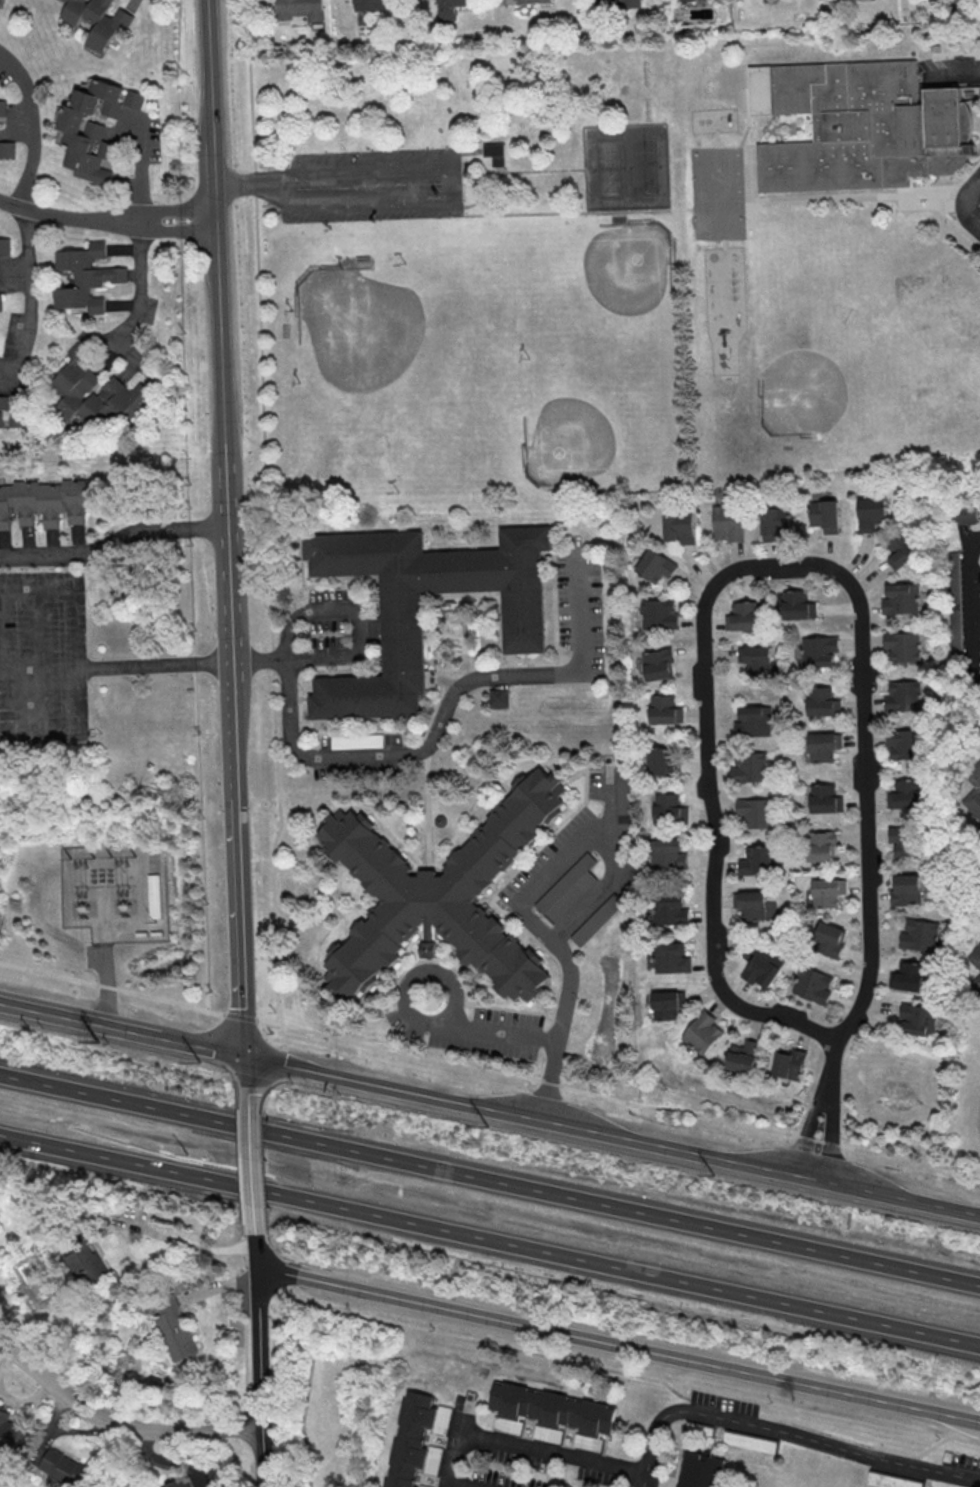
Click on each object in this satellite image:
building: (0, 1)
building: (532, 1)
building: (615, 4)
building: (371, 5)
building: (450, 8)
building: (301, 10)
building: (96, 19)
parking lot: (952, 70)
road: (951, 72)
building: (2, 107)
road: (748, 109)
road: (31, 126)
building: (92, 127)
building: (865, 129)
building: (7, 149)
road: (978, 149)
road: (465, 151)
building: (495, 152)
road: (367, 166)
park: (627, 166)
road: (752, 170)
road: (511, 172)
road: (250, 184)
parking lot: (374, 186)
road: (748, 189)
road: (904, 190)
road: (380, 202)
road: (965, 204)
parking lot: (969, 205)
road: (702, 206)
road: (950, 206)
road: (156, 211)
road: (49, 217)
road: (157, 230)
road: (139, 239)
building: (4, 246)
park: (444, 272)
park: (618, 273)
building: (85, 278)
road: (26, 300)
building: (0, 302)
road: (260, 332)
park: (374, 342)
park: (914, 348)
building: (98, 393)
park: (800, 396)
building: (11, 416)
park: (577, 431)
building: (44, 502)
building: (871, 513)
building: (965, 513)
building: (825, 515)
building: (775, 522)
building: (728, 523)
road: (228, 526)
building: (679, 527)
road: (114, 543)
building: (902, 550)
building: (656, 565)
road: (841, 577)
building: (900, 598)
road: (969, 604)
building: (798, 605)
building: (660, 614)
building: (743, 616)
road: (357, 617)
building: (401, 624)
building: (902, 646)
building: (819, 651)
building: (756, 658)
parking lot: (42, 660)
road: (36, 661)
road: (77, 661)
road: (260, 661)
building: (659, 664)
road: (155, 665)
building: (902, 694)
building: (499, 699)
building: (823, 701)
building: (665, 710)
road: (445, 711)
building: (753, 720)
building: (905, 743)
building: (823, 747)
building: (662, 762)
building: (749, 766)
building: (974, 790)
building: (624, 791)
building: (905, 794)
building: (824, 798)
building: (668, 807)
road: (427, 810)
building: (755, 812)
road: (200, 837)
building: (905, 839)
building: (822, 846)
building: (667, 853)
building: (627, 858)
building: (757, 860)
road: (613, 868)
building: (906, 889)
building: (568, 890)
road: (275, 891)
building: (828, 891)
power substation: (116, 893)
building: (152, 895)
building: (441, 895)
building: (751, 904)
building: (672, 909)
road: (142, 917)
building: (597, 921)
building: (919, 934)
building: (830, 939)
road: (555, 945)
building: (672, 957)
road: (105, 960)
building: (974, 961)
building: (763, 968)
building: (909, 976)
road: (446, 978)
building: (814, 985)
building: (667, 1004)
road: (411, 1016)
building: (918, 1019)
road: (122, 1028)
building: (703, 1032)
road: (499, 1033)
power tower: (95, 1042)
building: (744, 1057)
power tower: (197, 1061)
building: (790, 1062)
road: (830, 1068)
road: (489, 1072)
road: (247, 1082)
power tower: (471, 1126)
road: (808, 1133)
road: (612, 1134)
road: (830, 1138)
road: (250, 1172)
road: (261, 1174)
road: (490, 1181)
power tower: (742, 1182)
road: (490, 1242)
road: (178, 1243)
road: (253, 1249)
building: (89, 1264)
road: (279, 1265)
building: (15, 1282)
building: (176, 1331)
road: (616, 1345)
road: (634, 1370)
road: (257, 1376)
road: (298, 1388)
building: (550, 1409)
road: (117, 1422)
building: (698, 1428)
road: (784, 1433)
building: (12, 1434)
building: (410, 1440)
building: (746, 1441)
road: (523, 1446)
building: (66, 1468)
building: (701, 1471)
building: (887, 1480)
building: (175, 1483)
road: (446, 1485)

